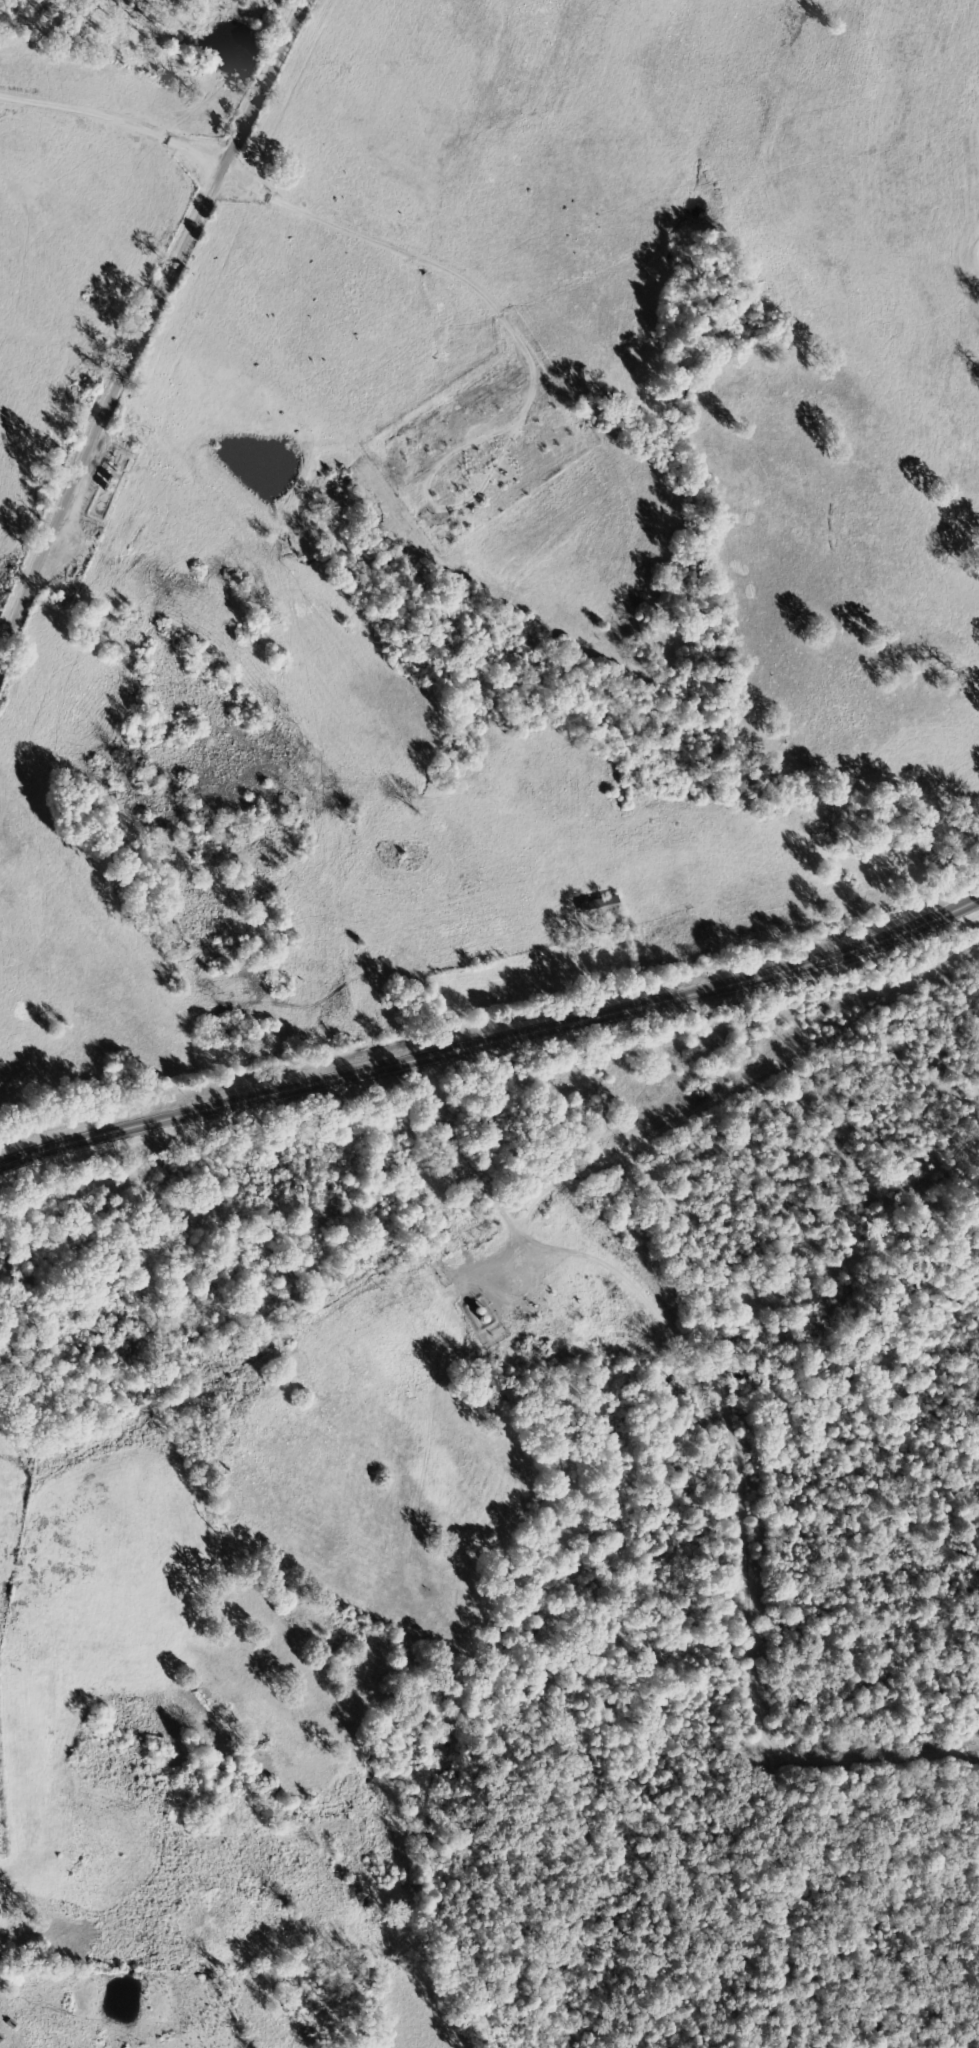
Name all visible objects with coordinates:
road: (144, 317)
building: (602, 905)
road: (492, 1040)

